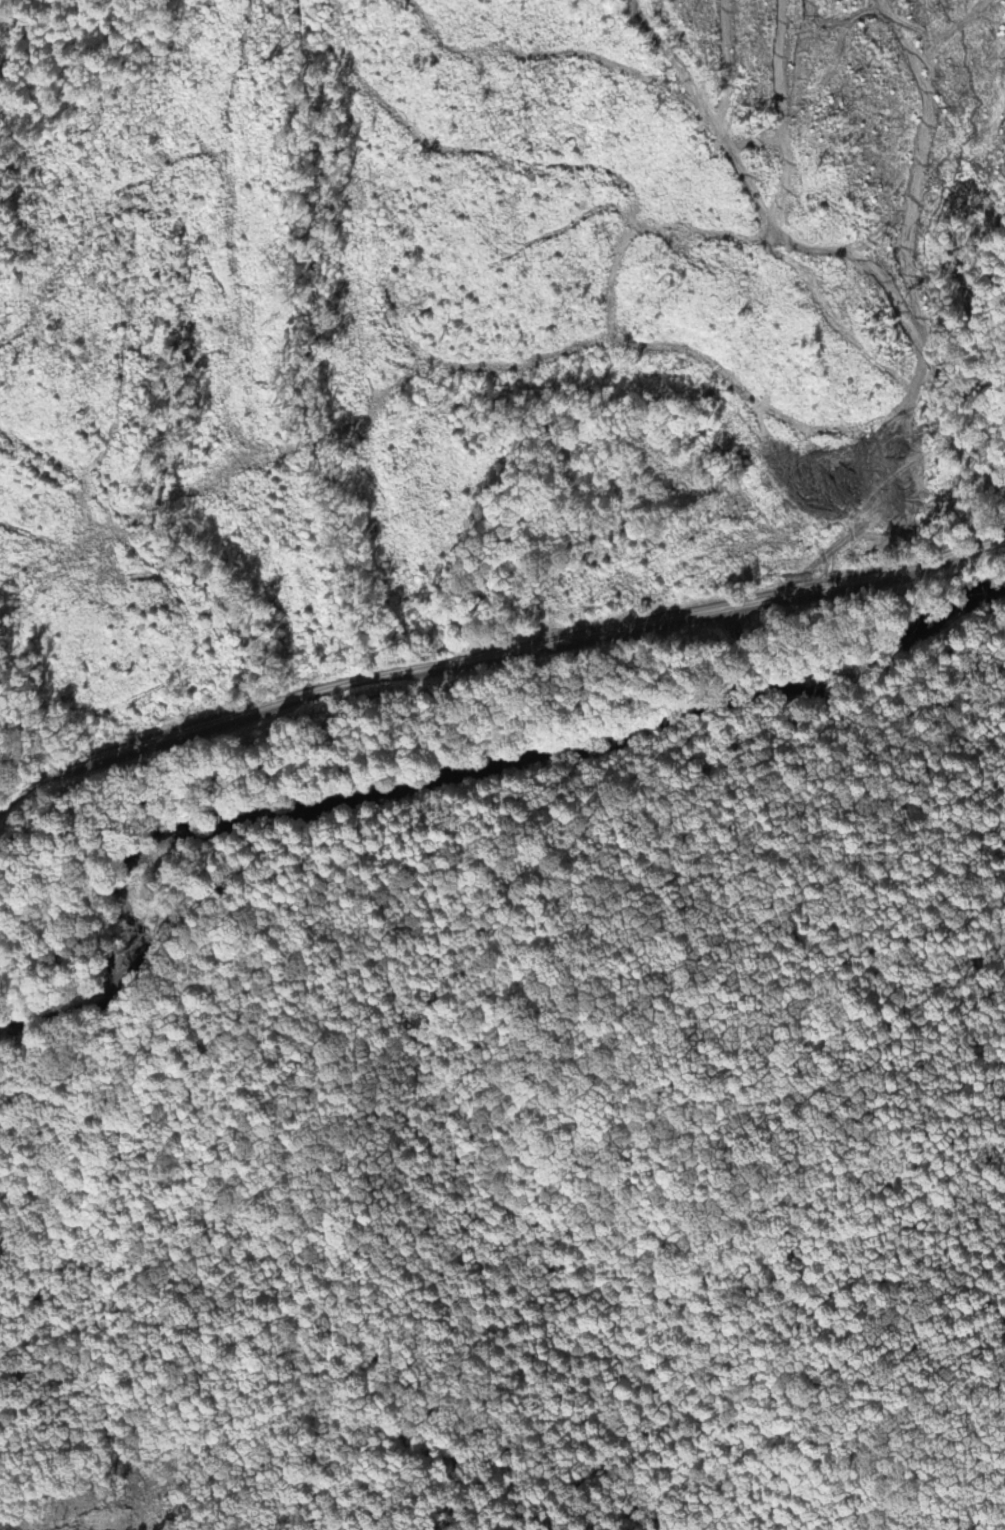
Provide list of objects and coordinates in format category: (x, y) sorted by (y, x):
road: (489, 654)

